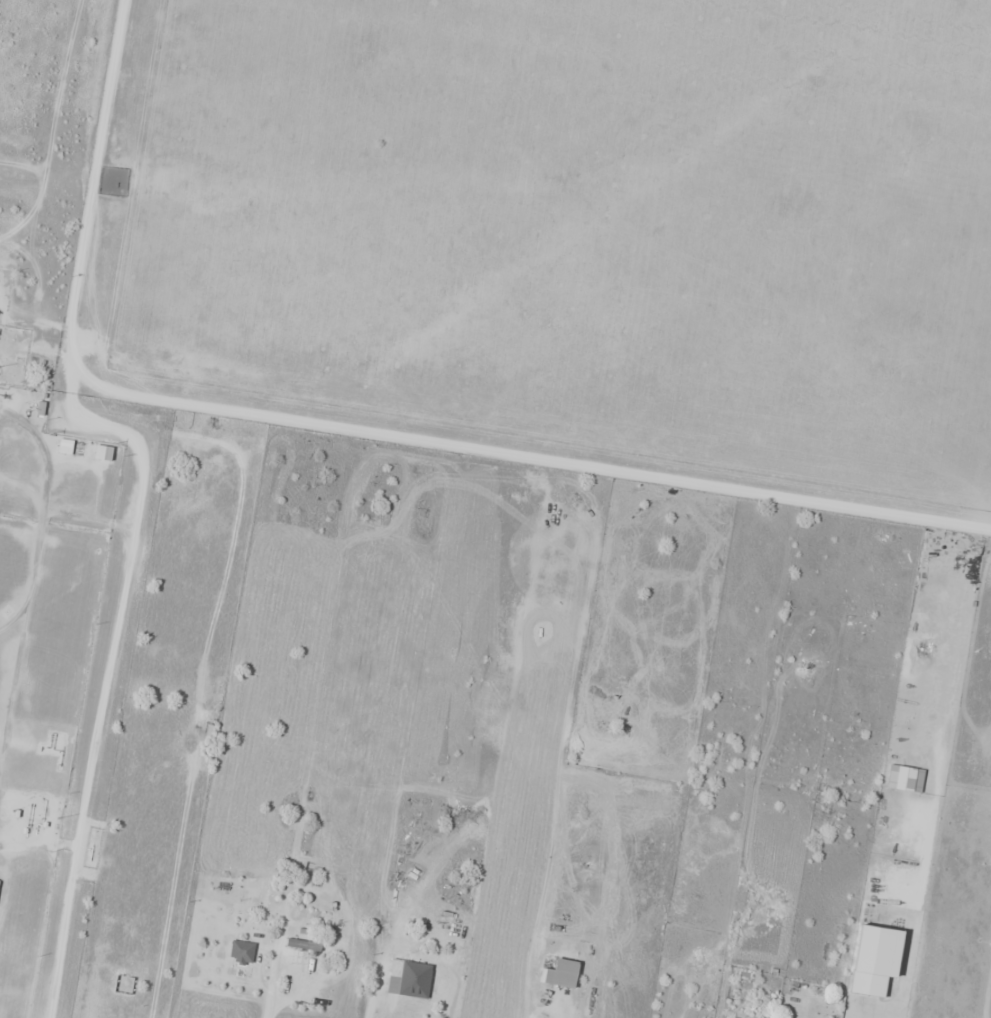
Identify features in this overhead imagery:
building: (66, 446)
road: (138, 489)
building: (203, 733)
building: (301, 939)
building: (242, 951)
building: (855, 968)
building: (561, 974)
building: (741, 974)
building: (409, 980)
building: (799, 987)

